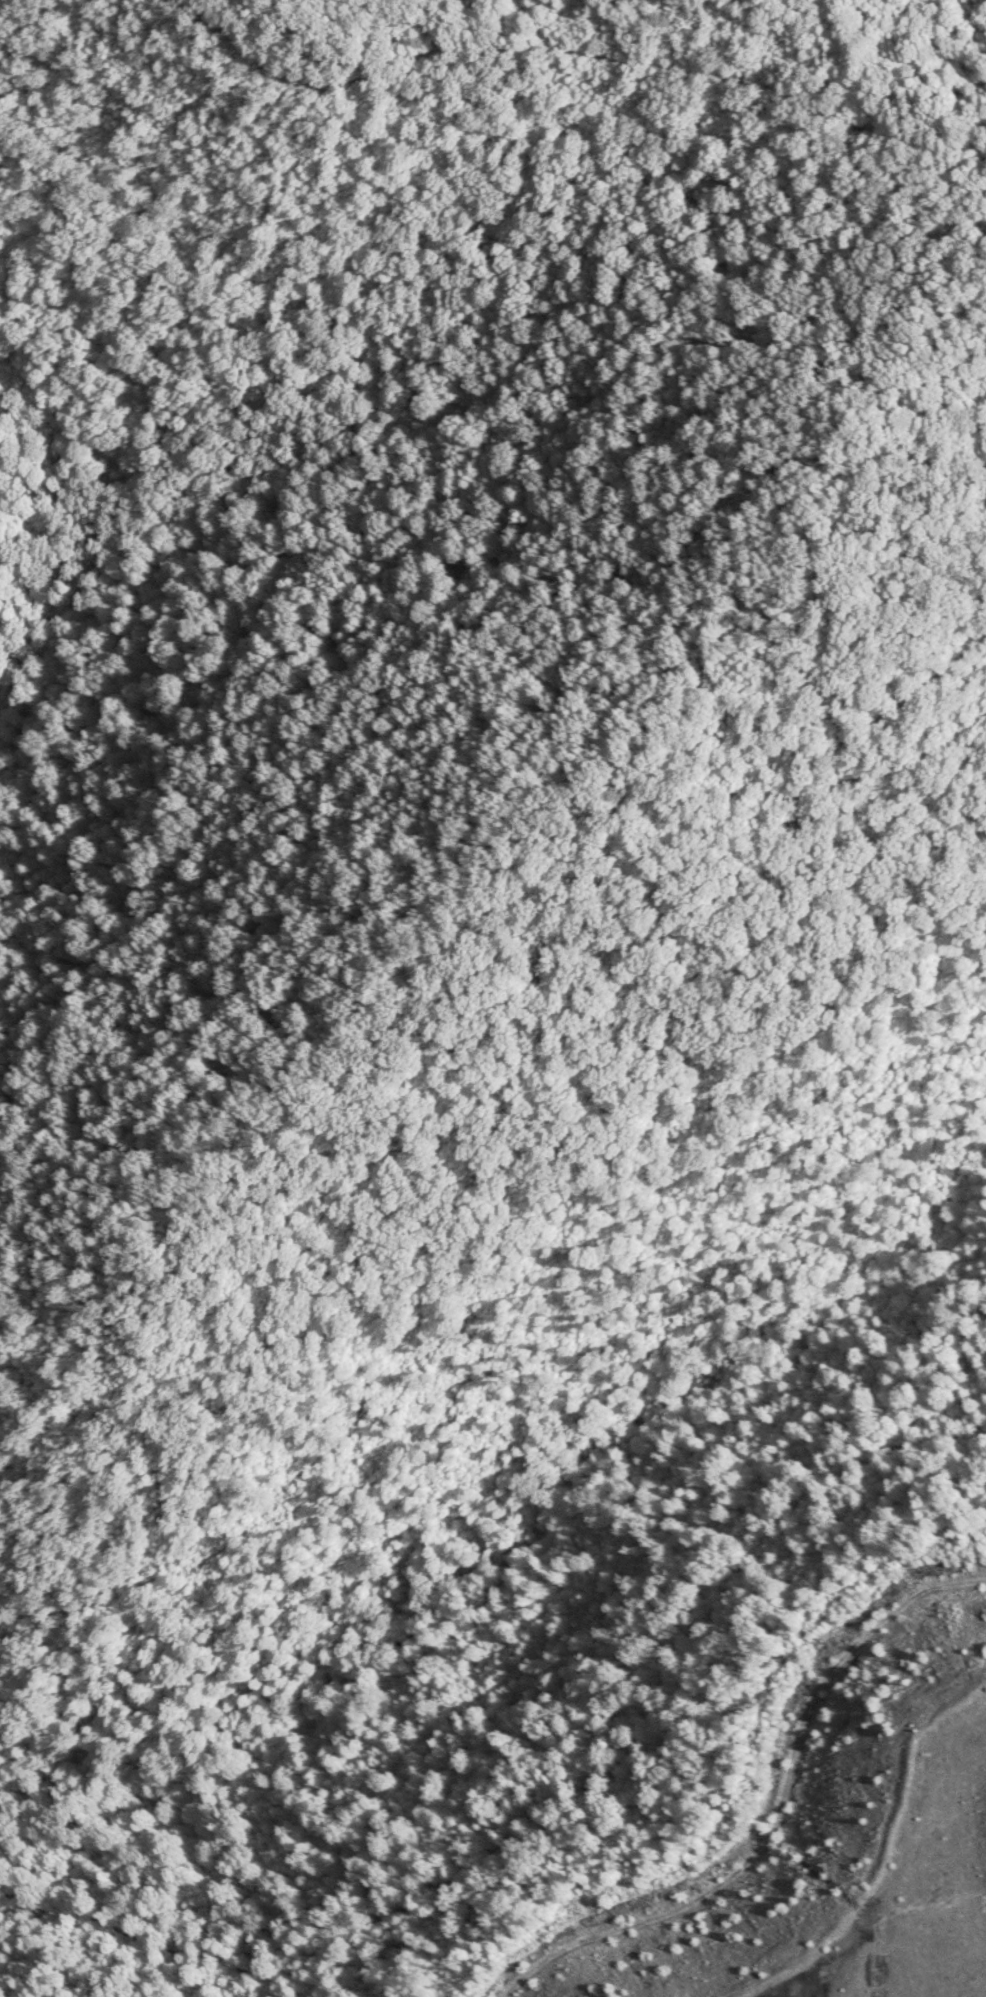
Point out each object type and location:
road: (522, 61)
road: (873, 120)
quarry: (832, 1830)

